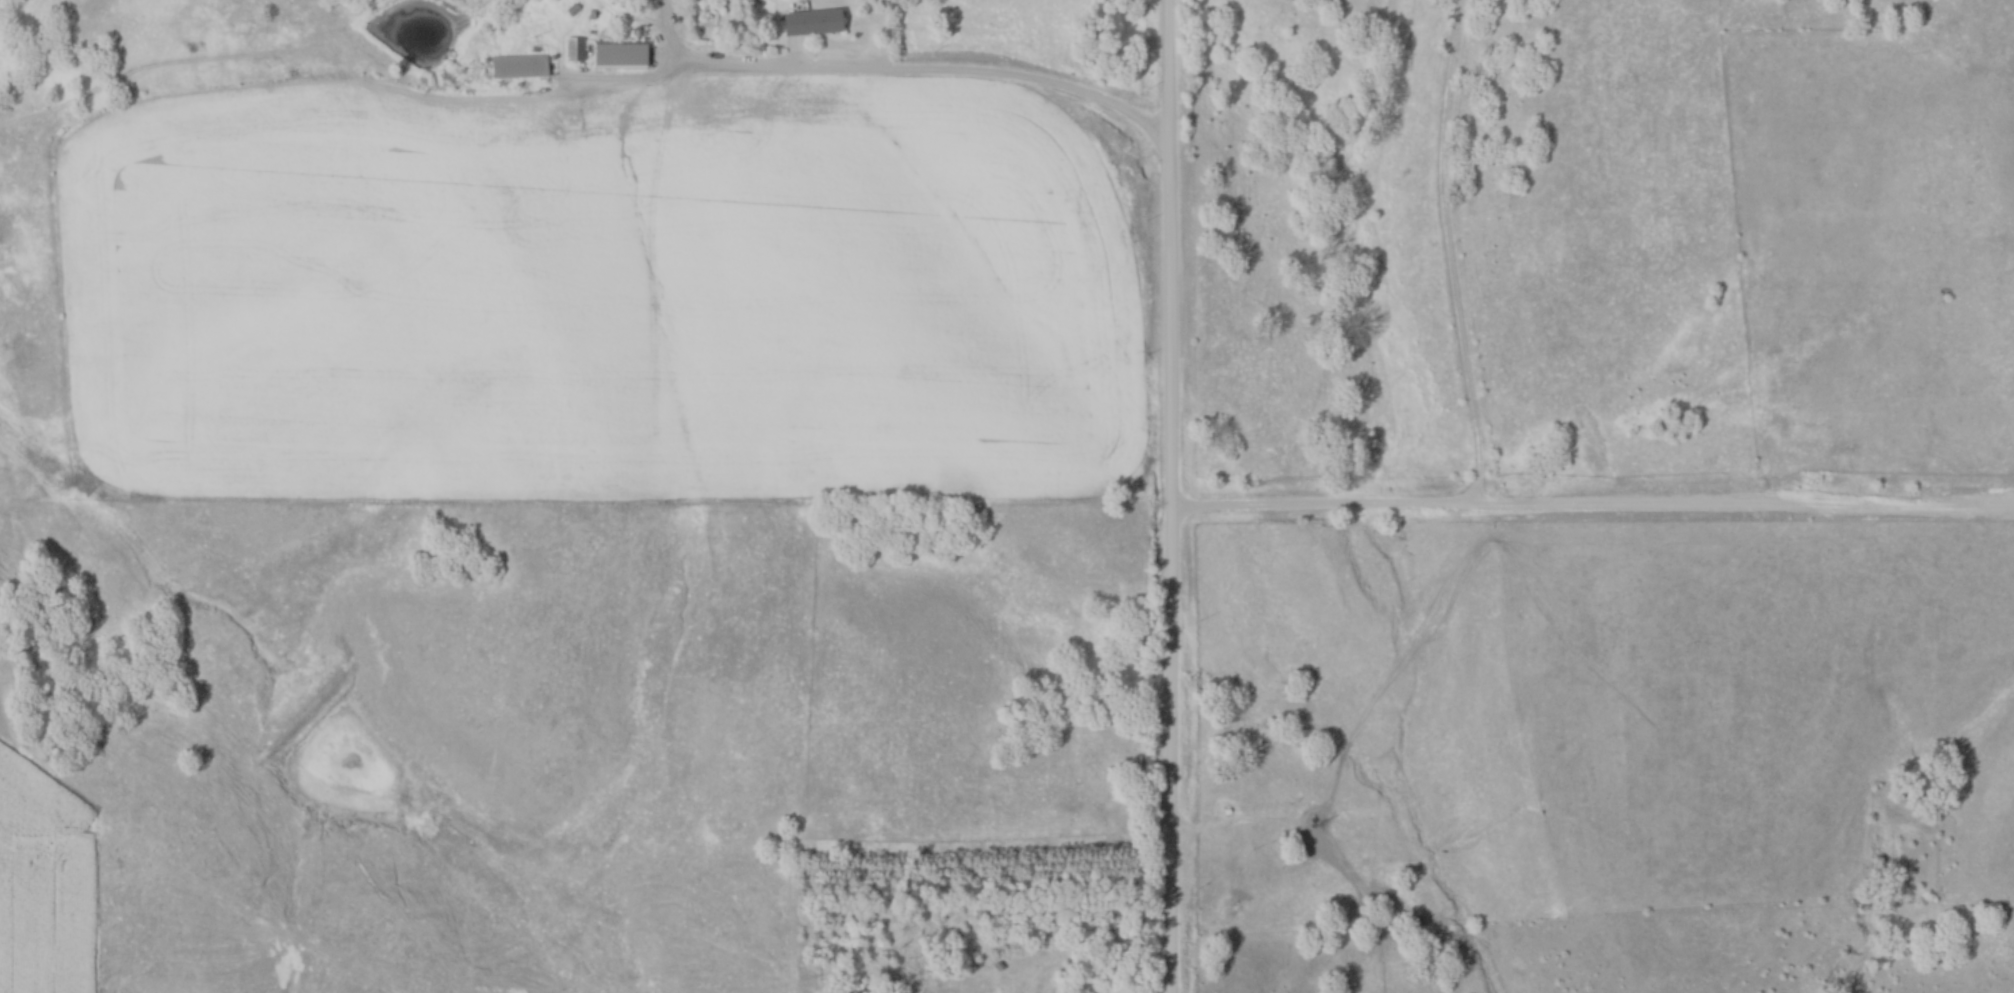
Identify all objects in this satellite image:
building: (816, 20)
building: (623, 54)
building: (521, 65)
road: (1171, 72)
road: (1171, 283)
road: (1473, 398)
building: (956, 985)

